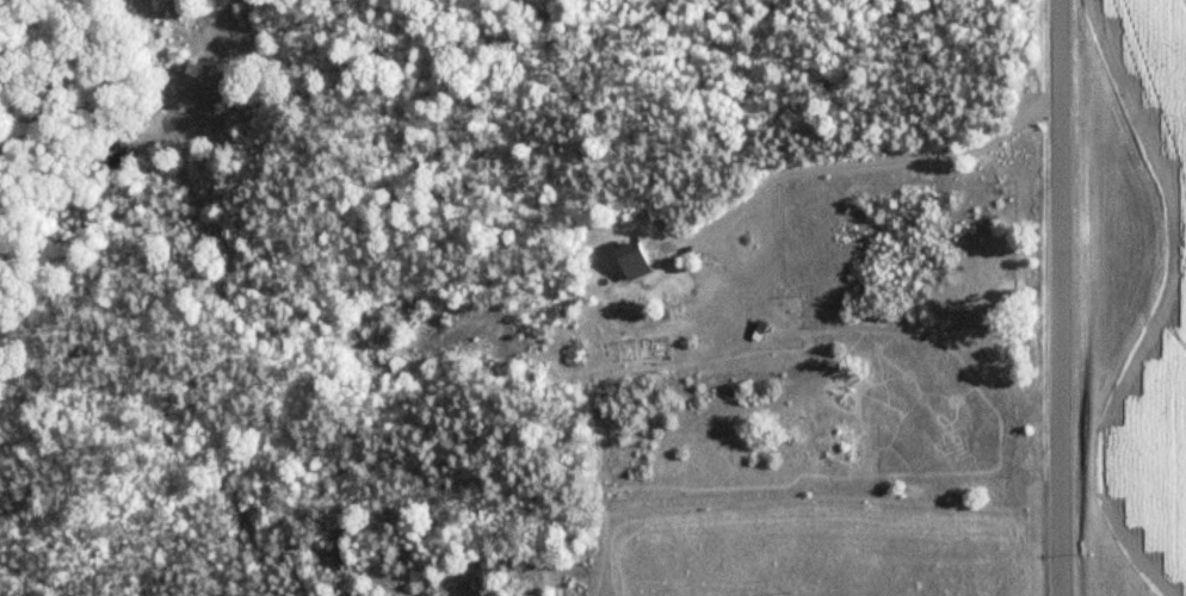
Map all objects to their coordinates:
road: (859, 163)
road: (1060, 297)
building: (766, 439)

